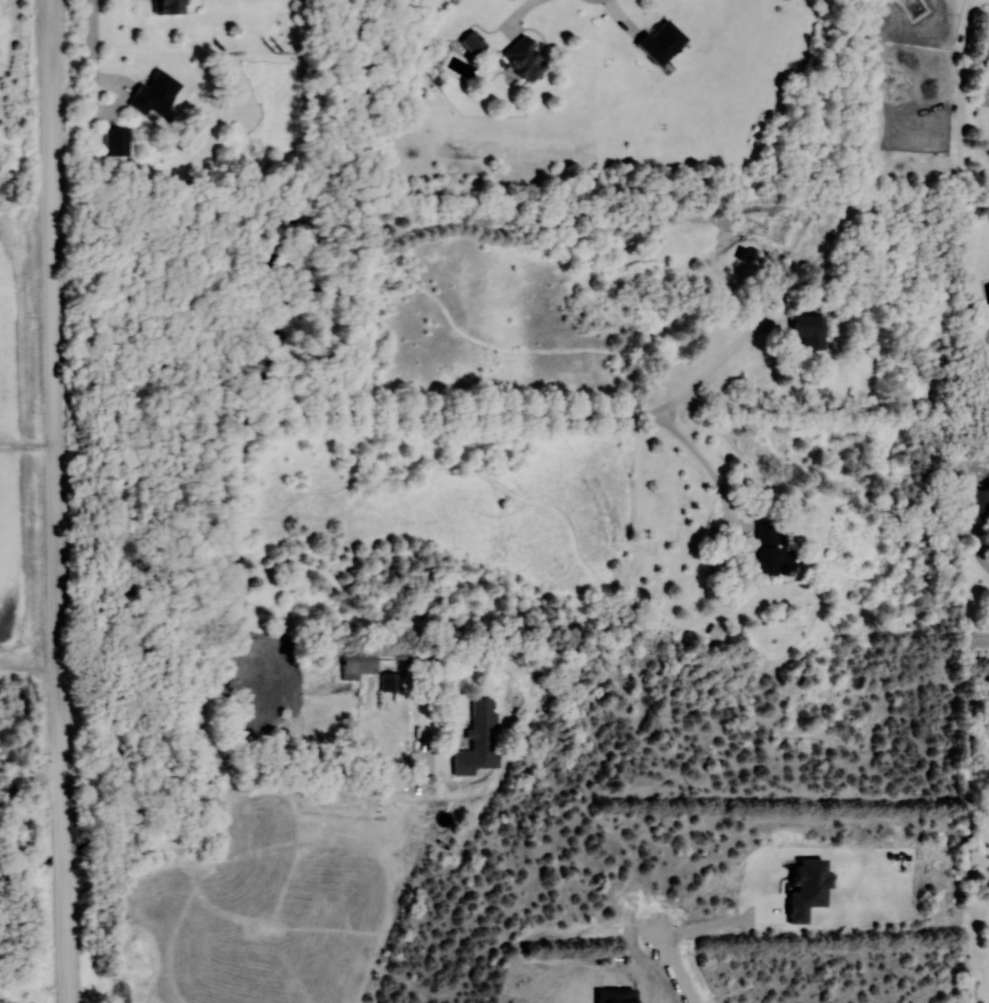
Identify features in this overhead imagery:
building: (170, 7)
building: (662, 42)
building: (474, 43)
road: (88, 49)
building: (526, 59)
building: (156, 94)
building: (118, 140)
building: (810, 330)
road: (706, 373)
road: (257, 438)
road: (58, 501)
building: (977, 505)
building: (767, 548)
road: (974, 636)
building: (361, 662)
building: (484, 732)
road: (332, 772)
road: (30, 781)
road: (714, 926)
road: (679, 970)

